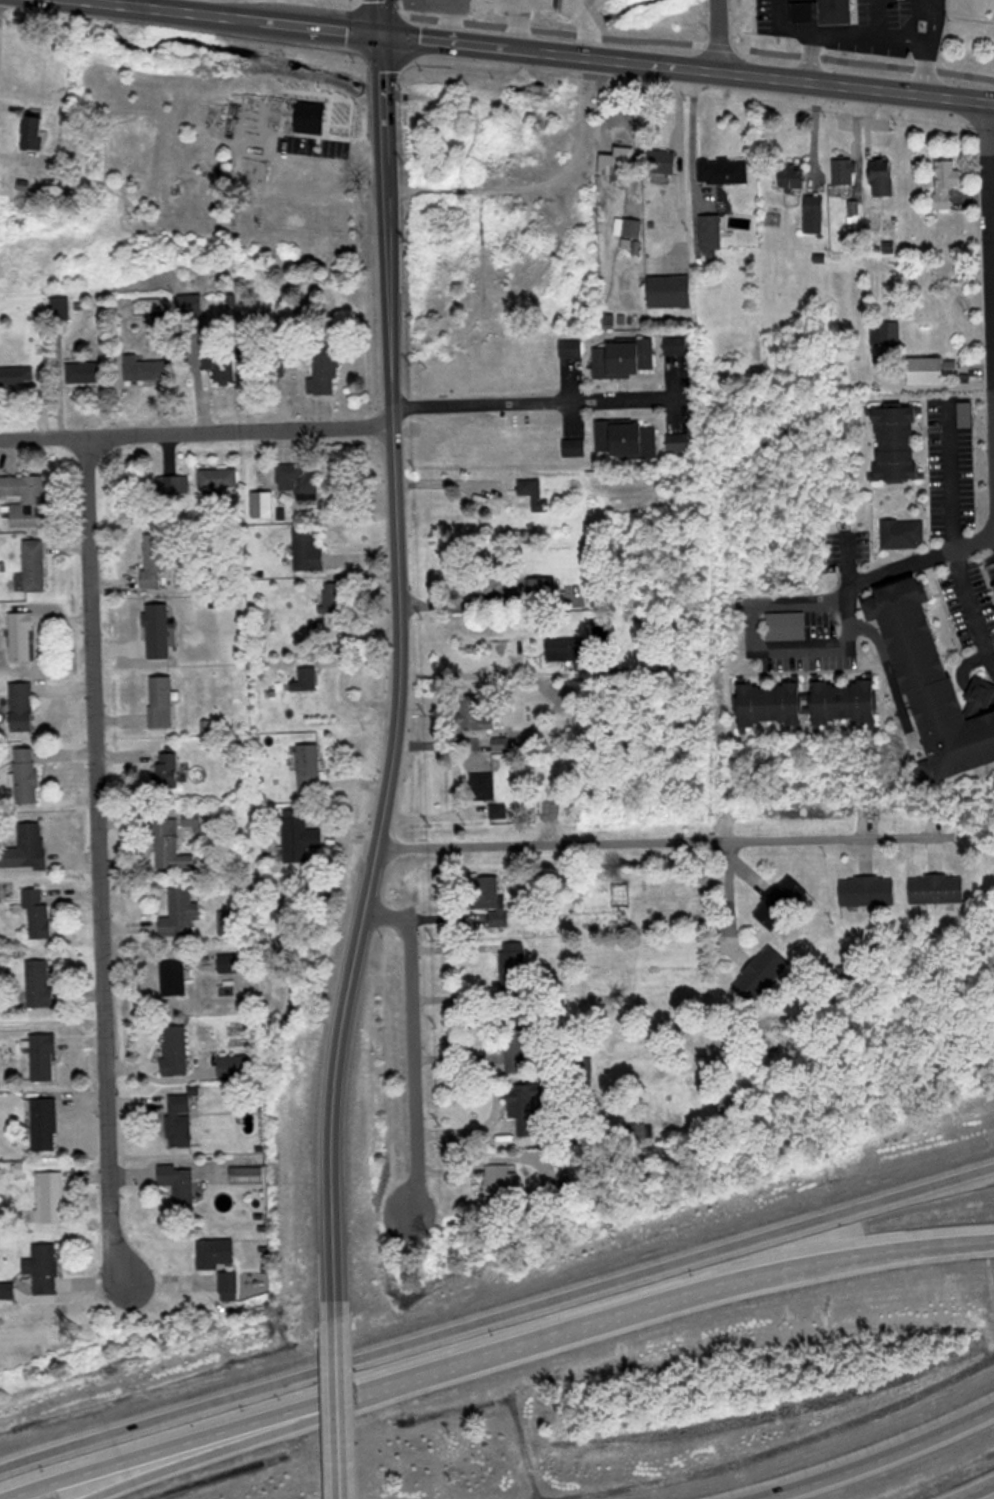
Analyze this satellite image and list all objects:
road: (111, 1)
building: (824, 12)
road: (710, 35)
park: (967, 40)
road: (544, 51)
building: (311, 117)
building: (34, 133)
road: (676, 149)
road: (689, 152)
building: (45, 160)
building: (662, 161)
building: (620, 165)
building: (728, 171)
building: (844, 171)
building: (793, 176)
building: (884, 177)
building: (946, 182)
building: (815, 213)
building: (629, 227)
building: (712, 231)
road: (988, 247)
building: (671, 290)
building: (191, 305)
building: (59, 307)
building: (886, 330)
building: (676, 343)
building: (571, 346)
building: (625, 357)
building: (146, 367)
building: (221, 367)
building: (84, 371)
building: (325, 371)
building: (16, 375)
road: (192, 429)
building: (627, 436)
building: (679, 440)
building: (899, 441)
road: (573, 444)
building: (574, 445)
road: (386, 454)
building: (218, 477)
building: (298, 478)
road: (948, 482)
building: (173, 483)
building: (534, 492)
building: (25, 498)
building: (262, 502)
building: (903, 531)
building: (309, 548)
building: (154, 559)
building: (34, 564)
road: (846, 569)
building: (490, 576)
building: (544, 587)
road: (966, 588)
building: (333, 596)
road: (769, 606)
building: (786, 624)
building: (21, 634)
building: (567, 647)
road: (884, 664)
building: (305, 677)
building: (936, 681)
building: (161, 699)
building: (809, 701)
building: (22, 704)
building: (474, 711)
building: (500, 742)
building: (309, 766)
building: (167, 768)
building: (25, 773)
building: (483, 784)
building: (298, 834)
road: (654, 840)
building: (169, 844)
building: (26, 846)
road: (933, 852)
road: (99, 859)
building: (937, 888)
building: (867, 890)
building: (489, 898)
building: (780, 901)
building: (179, 911)
building: (37, 912)
building: (228, 921)
building: (513, 970)
building: (761, 972)
building: (174, 977)
building: (39, 982)
road: (414, 1042)
building: (517, 1044)
building: (175, 1049)
building: (43, 1057)
building: (236, 1066)
building: (527, 1106)
road: (335, 1108)
building: (179, 1119)
building: (44, 1123)
building: (246, 1174)
building: (500, 1180)
building: (179, 1185)
building: (50, 1195)
building: (215, 1252)
building: (43, 1267)
building: (228, 1285)
building: (7, 1290)
road: (593, 1319)
power tower: (70, 1325)
road: (496, 1327)
road: (339, 1406)
road: (880, 1458)
road: (113, 1469)
road: (145, 1470)
road: (976, 1491)

